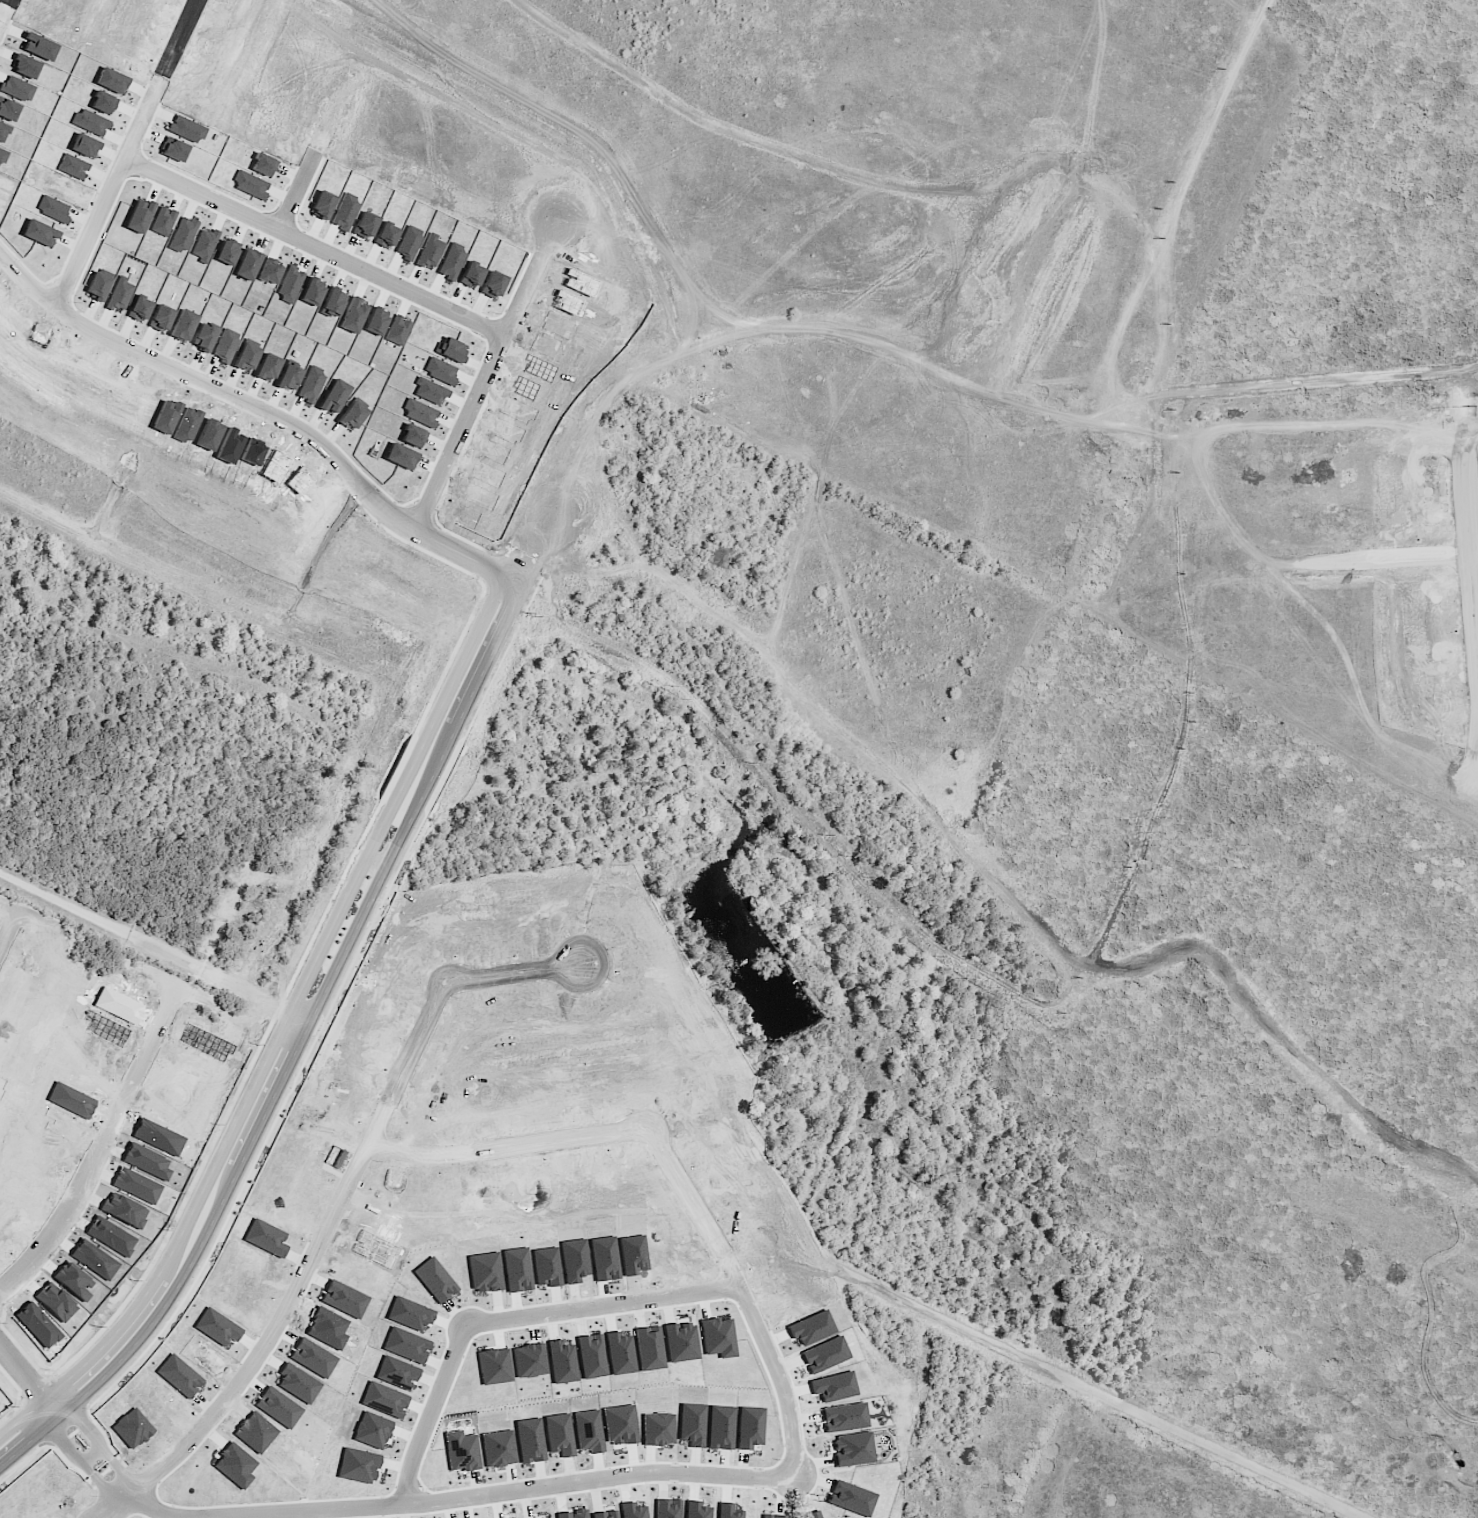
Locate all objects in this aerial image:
road: (1, 4)
road: (563, 21)
road: (1003, 49)
road: (741, 55)
road: (608, 75)
road: (173, 82)
road: (334, 114)
road: (466, 129)
road: (1292, 154)
road: (901, 188)
road: (1073, 188)
road: (103, 239)
road: (726, 241)
road: (699, 248)
road: (322, 251)
road: (543, 262)
road: (32, 281)
road: (1373, 311)
road: (692, 322)
road: (1460, 380)
road: (609, 405)
road: (1113, 418)
road: (310, 431)
road: (615, 431)
road: (464, 435)
road: (1111, 437)
road: (1381, 555)
building: (717, 557)
road: (863, 694)
road: (830, 720)
road: (1275, 764)
road: (117, 817)
road: (36, 874)
road: (1407, 910)
road: (251, 987)
road: (306, 1011)
road: (318, 1039)
road: (1322, 1089)
road: (125, 1095)
road: (521, 1152)
road: (349, 1210)
road: (753, 1301)
road: (612, 1307)
road: (26, 1369)
building: (844, 1417)
road: (444, 1419)
building: (588, 1432)
building: (559, 1435)
building: (530, 1441)
road: (103, 1443)
building: (498, 1449)
building: (462, 1451)
road: (85, 1457)
road: (549, 1492)
building: (667, 1508)
road: (159, 1509)
building: (696, 1510)
building: (572, 1514)
building: (604, 1515)
building: (812, 1515)
building: (772, 1516)

